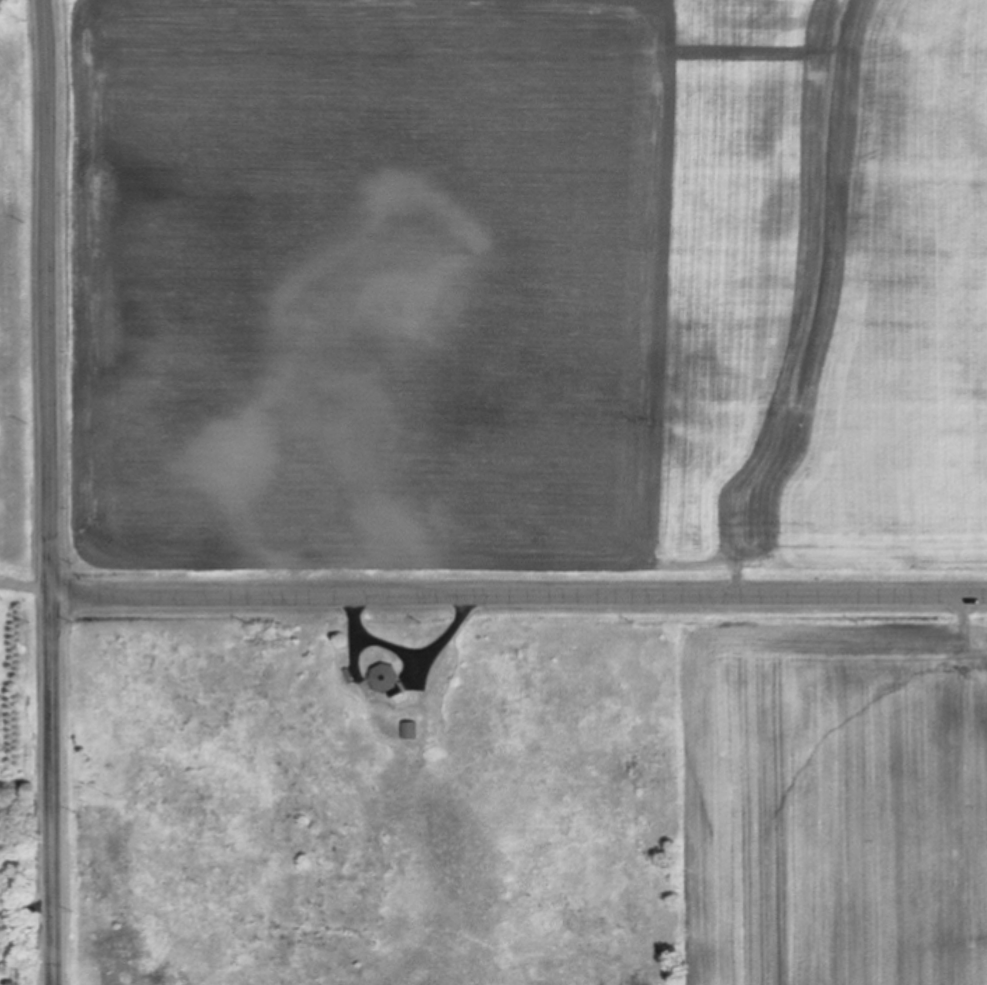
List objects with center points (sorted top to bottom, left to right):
road: (51, 492)
road: (519, 595)
road: (410, 652)
building: (389, 681)

